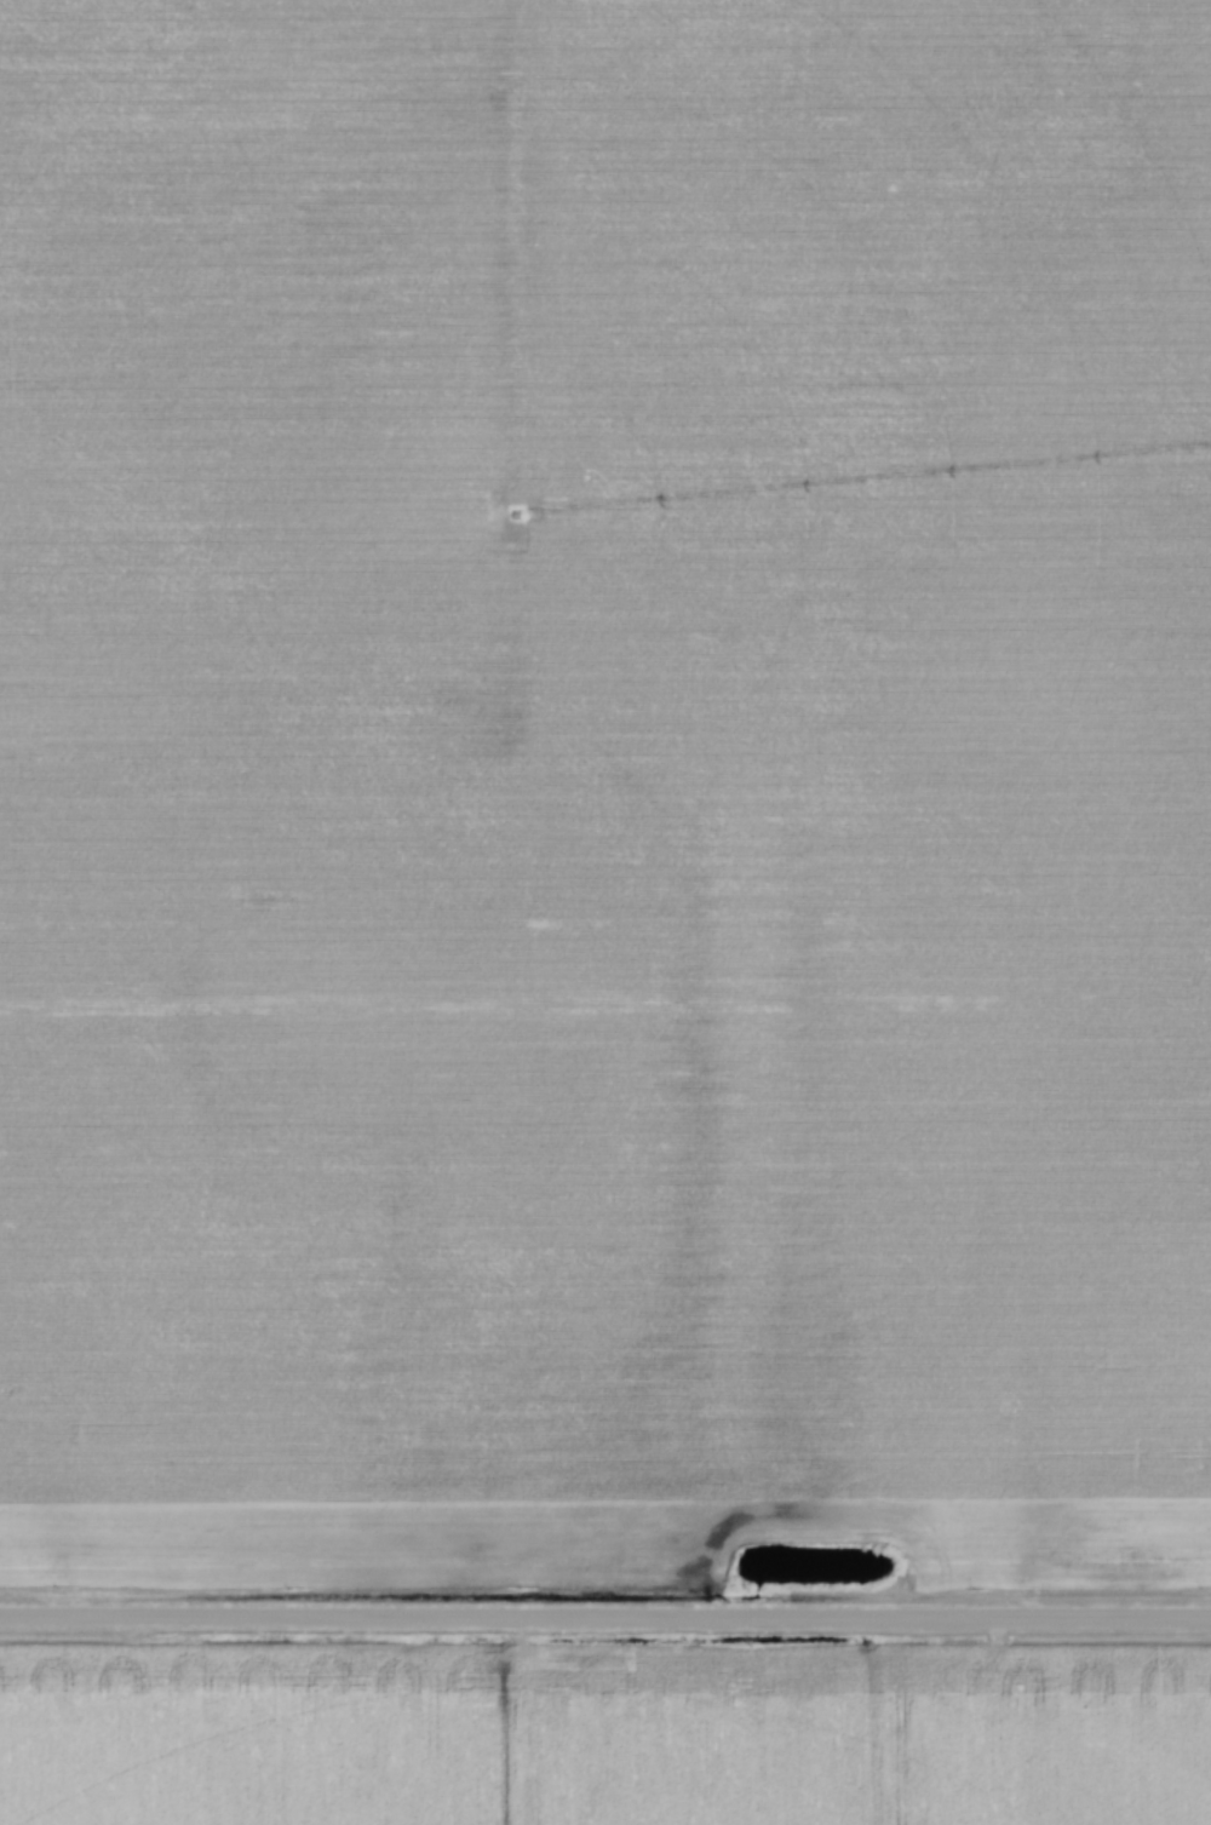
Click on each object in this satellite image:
road: (604, 1624)

